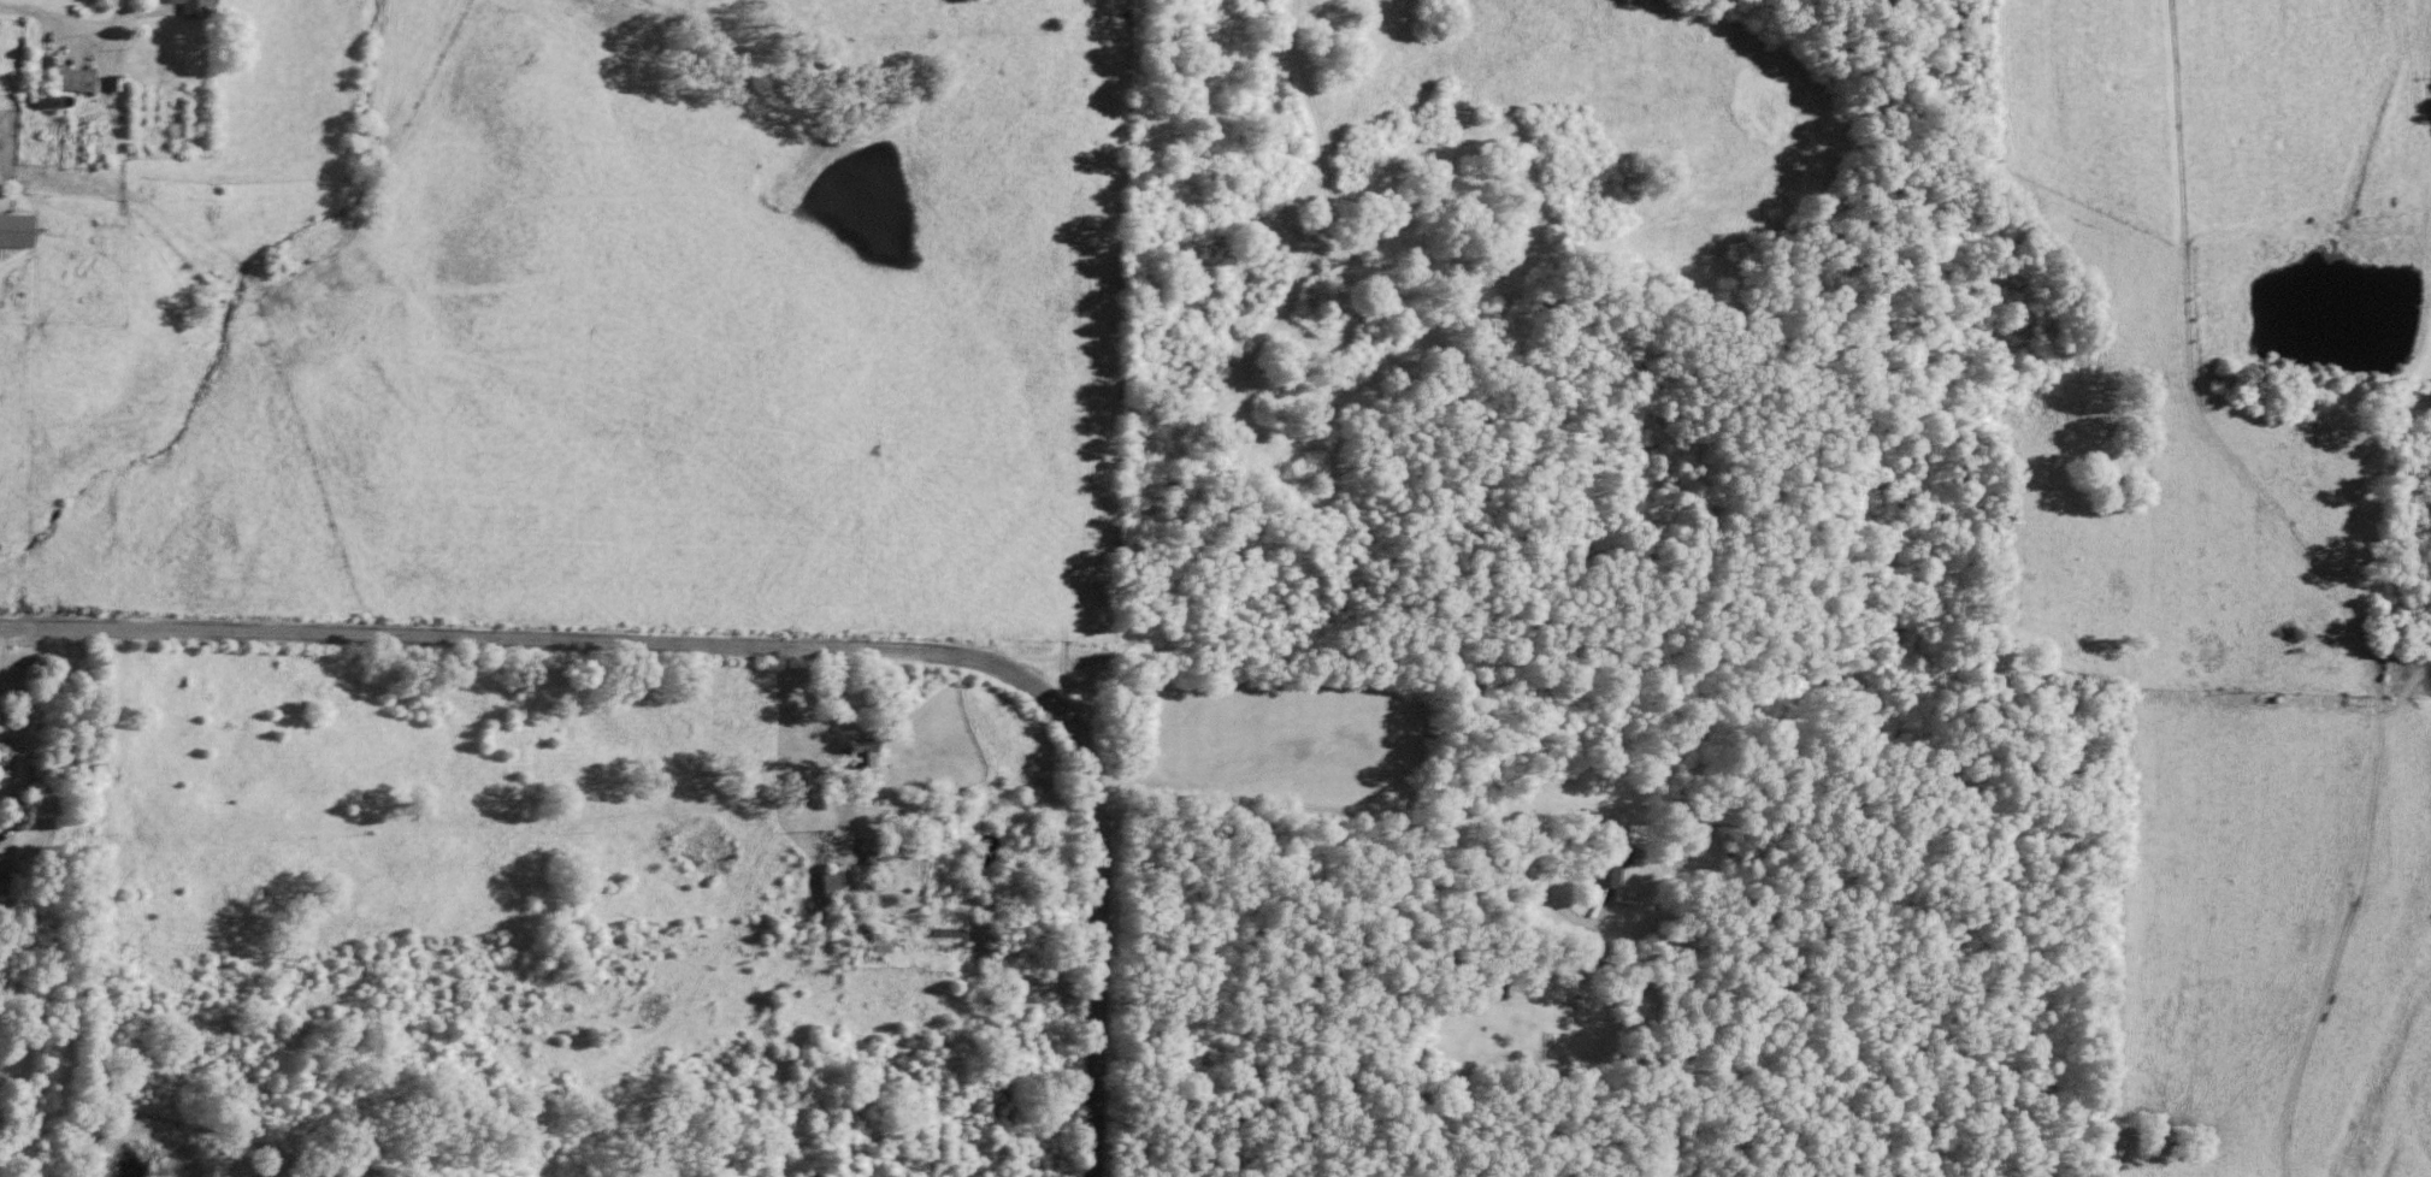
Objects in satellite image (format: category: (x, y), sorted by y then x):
building: (191, 11)
road: (46, 16)
building: (75, 85)
building: (43, 106)
building: (17, 235)
road: (774, 643)
road: (1309, 698)
building: (863, 757)
building: (833, 888)
building: (881, 945)

